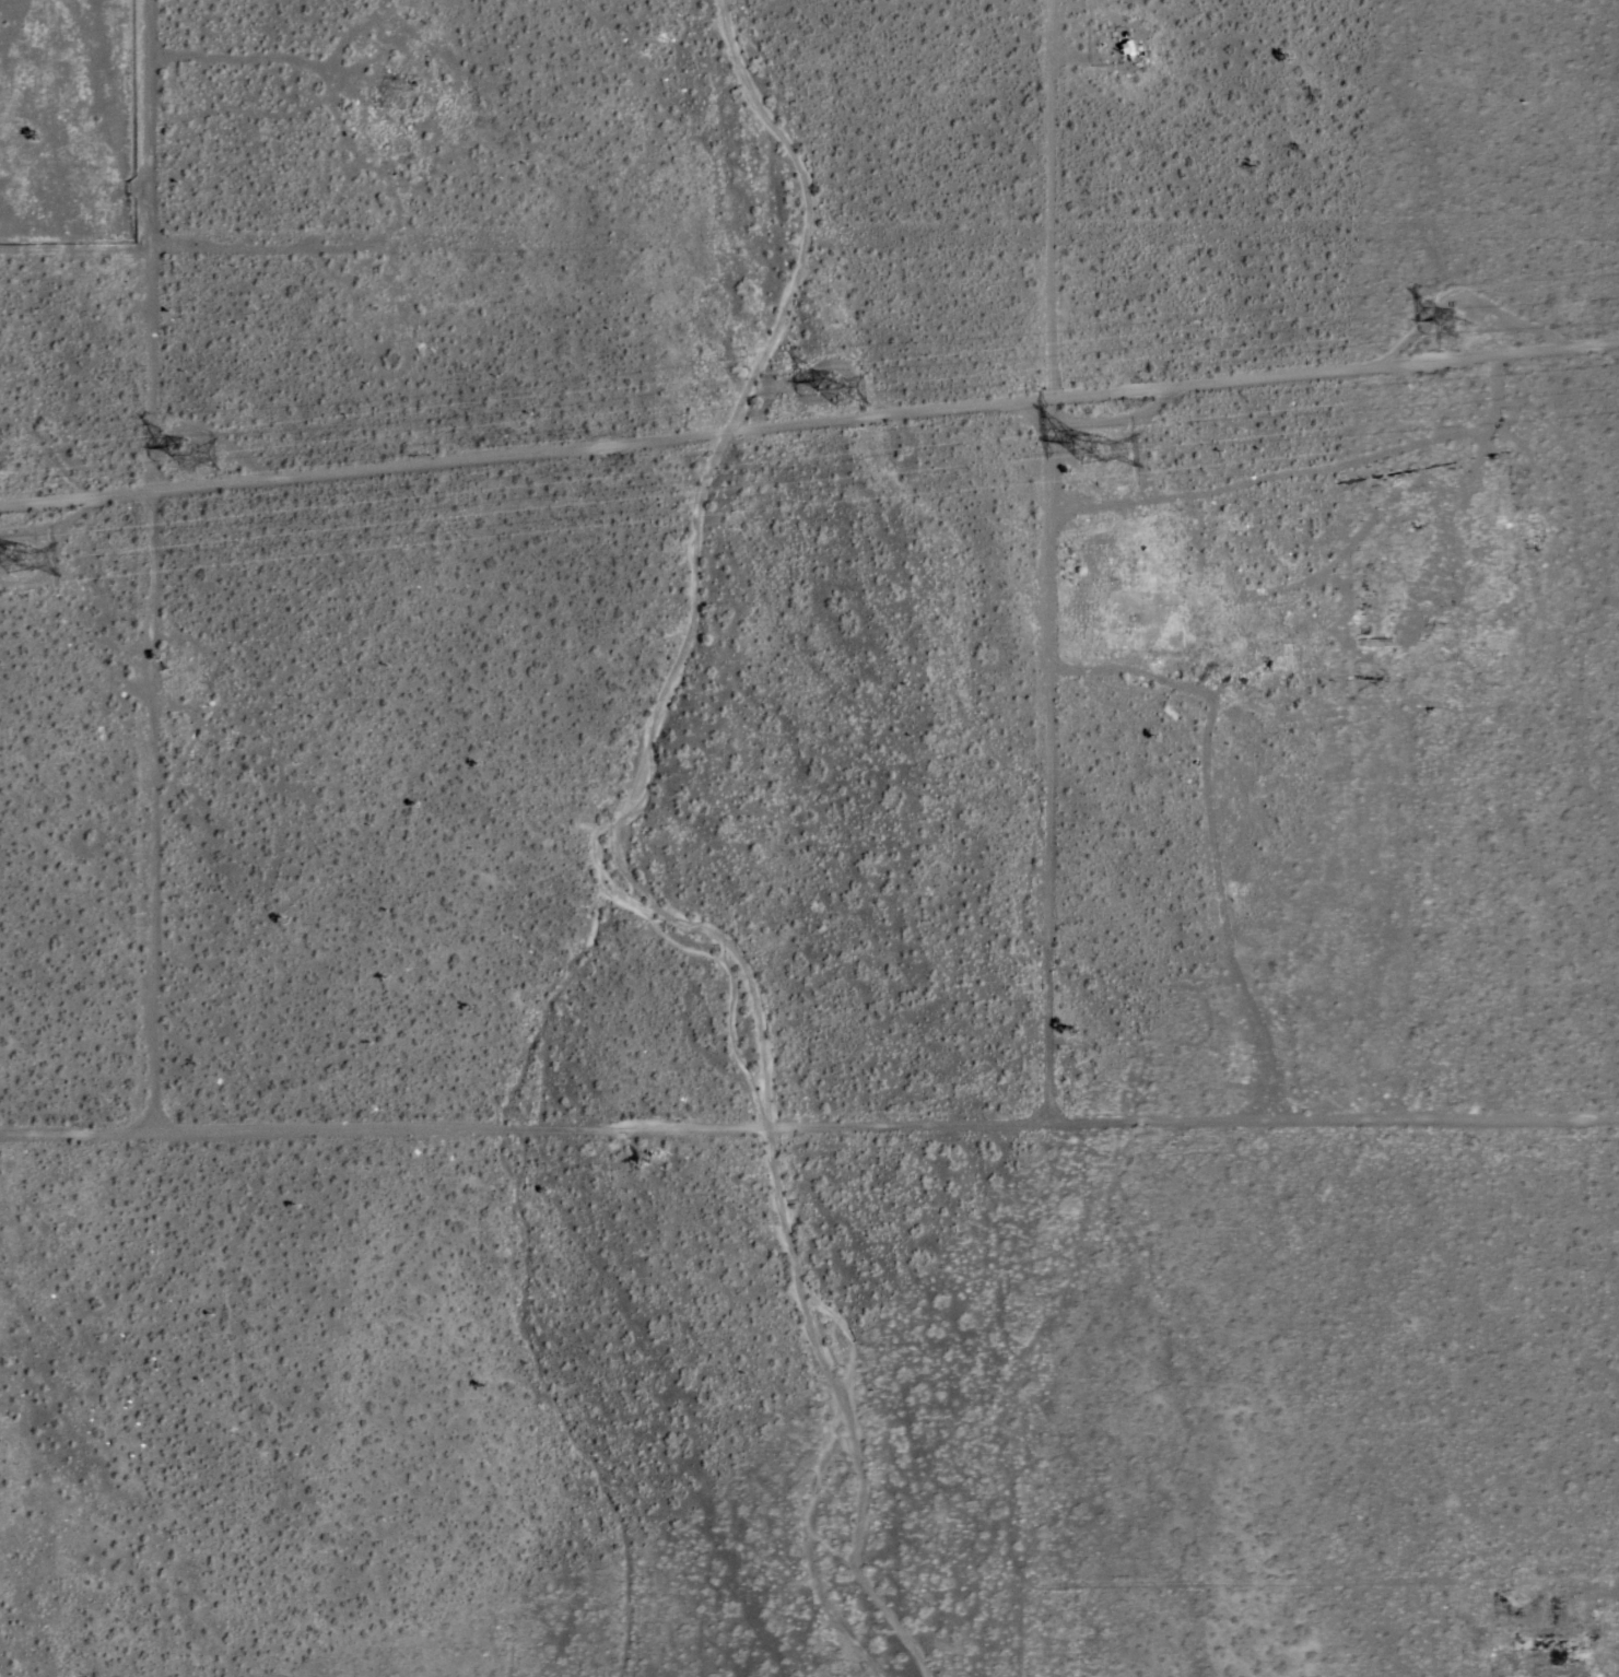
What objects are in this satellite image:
road: (151, 137)
road: (809, 268)
power tower: (1467, 339)
power tower: (842, 389)
road: (809, 429)
power tower: (1087, 456)
power tower: (197, 461)
road: (1265, 477)
road: (1463, 501)
power tower: (25, 559)
road: (1043, 566)
road: (140, 701)
road: (810, 1141)

